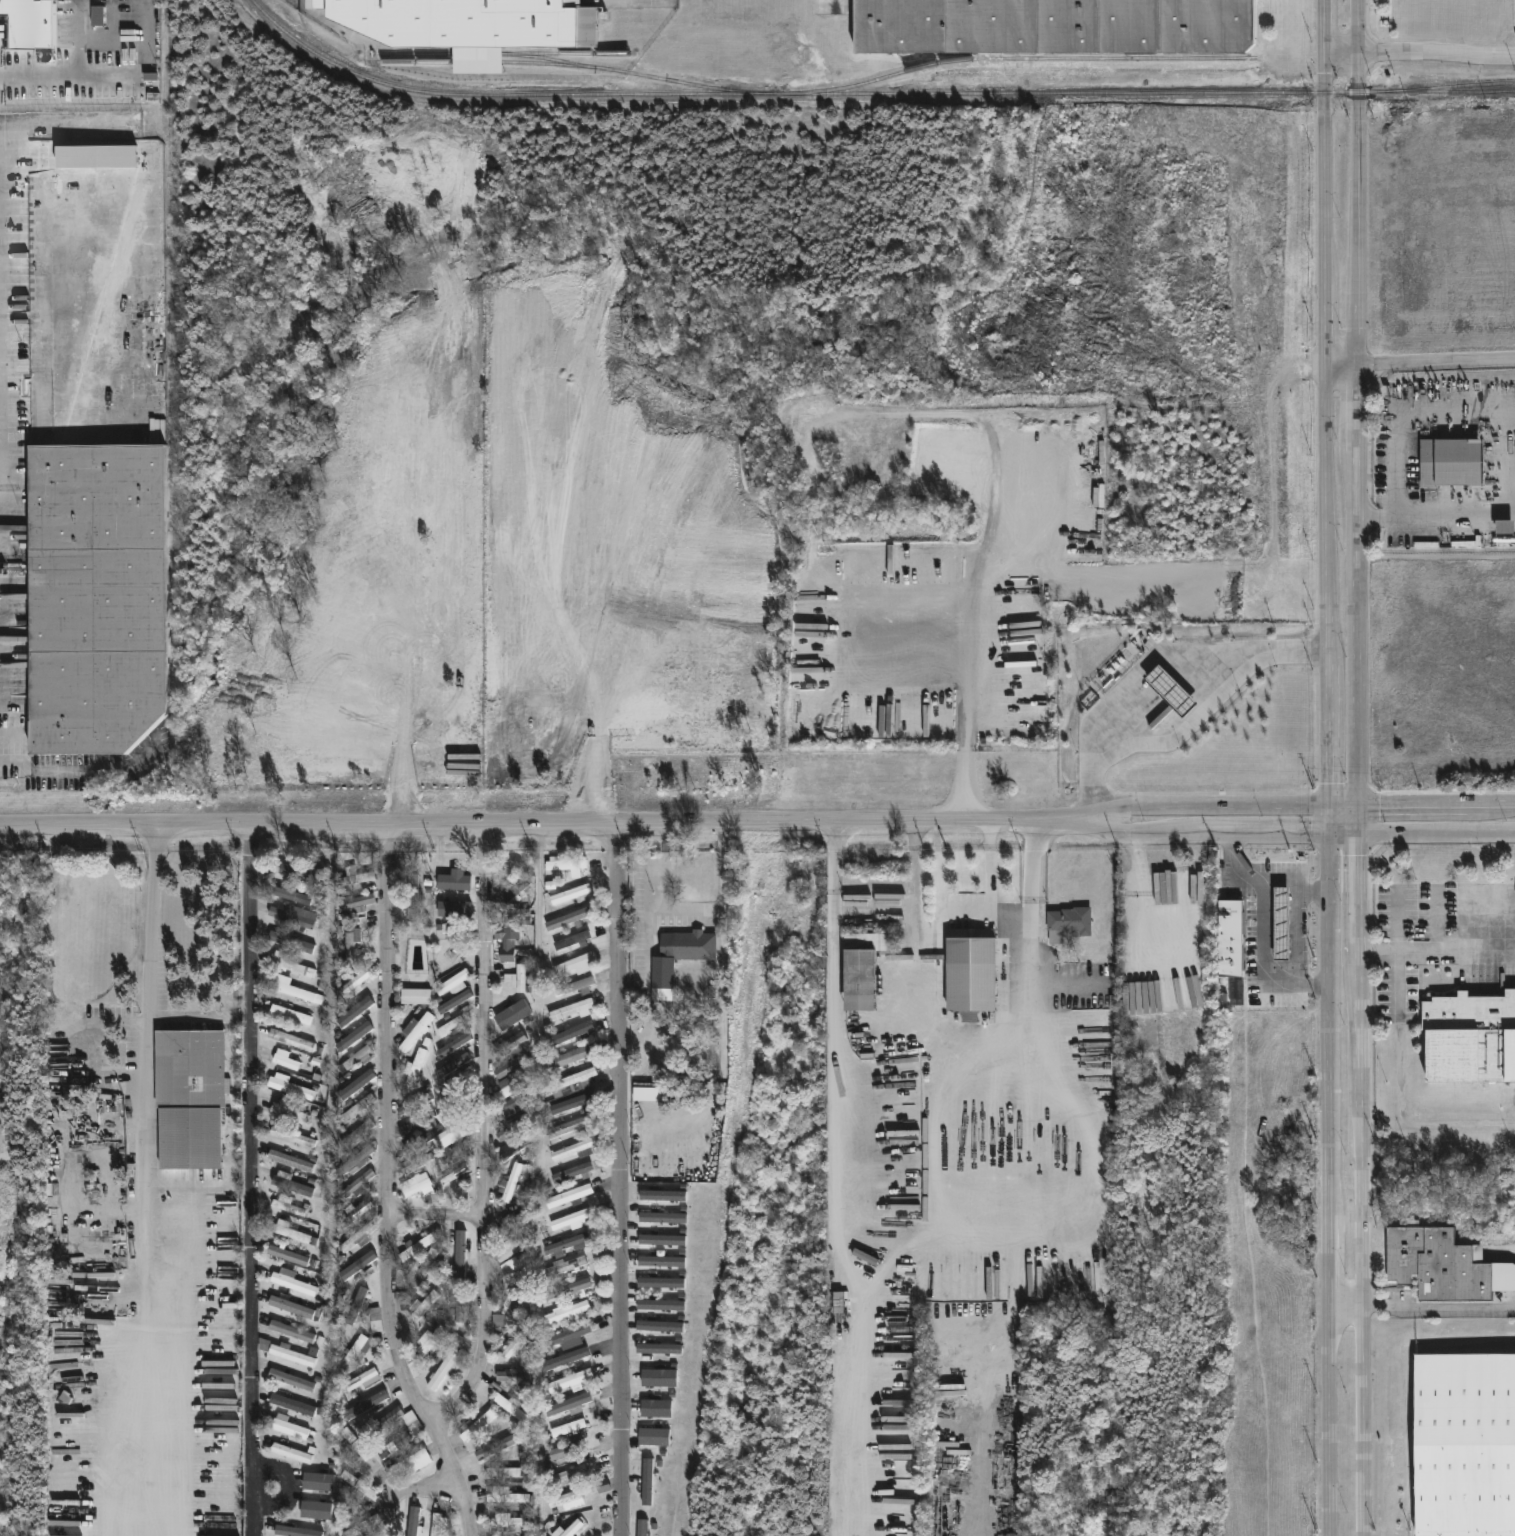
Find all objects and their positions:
building: (98, 15)
building: (465, 21)
building: (29, 23)
building: (1053, 25)
road: (1436, 52)
railway: (477, 53)
railway: (565, 53)
road: (1340, 53)
railway: (1023, 60)
railway: (560, 64)
road: (70, 69)
railway: (1459, 84)
railway: (870, 93)
road: (1437, 362)
railway: (170, 363)
road: (1343, 365)
road: (1327, 402)
road: (1360, 402)
road: (1409, 409)
building: (94, 443)
building: (1453, 463)
road: (1454, 508)
road: (1377, 509)
building: (1505, 532)
road: (1152, 658)
building: (1171, 691)
road: (965, 715)
road: (1193, 719)
road: (1276, 807)
road: (519, 821)
road: (1101, 824)
road: (1276, 837)
building: (565, 864)
building: (302, 871)
road: (988, 872)
building: (352, 878)
building: (454, 880)
road: (1299, 883)
building: (509, 892)
building: (289, 893)
building: (569, 893)
building: (445, 898)
building: (407, 901)
building: (352, 903)
road: (694, 908)
building: (289, 915)
building: (568, 918)
building: (1150, 918)
building: (1281, 922)
gas station: (1281, 922)
building: (1067, 923)
road: (1264, 929)
building: (510, 931)
building: (1231, 938)
building: (572, 940)
building: (291, 942)
building: (691, 945)
building: (347, 947)
road: (1030, 950)
road: (1437, 954)
building: (575, 963)
building: (291, 965)
building: (859, 966)
building: (972, 969)
building: (518, 979)
building: (354, 981)
building: (452, 981)
building: (574, 986)
building: (289, 988)
building: (675, 990)
building: (414, 995)
building: (452, 1003)
building: (571, 1009)
building: (355, 1011)
building: (288, 1012)
building: (513, 1014)
road: (384, 1016)
building: (357, 1021)
road: (722, 1022)
building: (448, 1027)
building: (458, 1028)
road: (63, 1031)
building: (415, 1031)
building: (571, 1034)
building: (354, 1036)
building: (1470, 1037)
building: (291, 1038)
building: (510, 1043)
building: (454, 1045)
building: (570, 1055)
building: (354, 1058)
building: (285, 1059)
building: (453, 1065)
building: (509, 1065)
building: (414, 1067)
building: (574, 1079)
building: (358, 1081)
building: (291, 1087)
building: (453, 1087)
building: (509, 1087)
road: (1400, 1092)
building: (187, 1097)
building: (415, 1100)
building: (568, 1102)
building: (510, 1107)
building: (356, 1108)
building: (452, 1109)
building: (288, 1111)
building: (414, 1122)
building: (568, 1126)
building: (511, 1128)
building: (454, 1130)
road: (480, 1130)
building: (355, 1133)
building: (291, 1135)
building: (417, 1139)
building: (458, 1148)
building: (512, 1148)
building: (571, 1148)
building: (355, 1160)
building: (291, 1161)
building: (417, 1161)
building: (360, 1165)
road: (1332, 1170)
road: (1361, 1170)
building: (572, 1172)
building: (452, 1174)
road: (248, 1178)
road: (618, 1178)
road: (834, 1182)
building: (290, 1183)
building: (356, 1183)
building: (509, 1183)
building: (419, 1187)
building: (568, 1195)
building: (662, 1195)
building: (286, 1206)
building: (356, 1212)
road: (432, 1213)
building: (662, 1217)
building: (571, 1220)
building: (511, 1221)
building: (288, 1231)
building: (357, 1237)
building: (662, 1239)
building: (568, 1243)
building: (415, 1247)
building: (511, 1248)
building: (457, 1250)
building: (283, 1252)
building: (661, 1261)
building: (514, 1264)
building: (1443, 1264)
building: (358, 1265)
building: (563, 1267)
building: (418, 1273)
building: (291, 1282)
building: (661, 1282)
building: (567, 1289)
building: (401, 1298)
building: (515, 1298)
building: (460, 1304)
building: (660, 1304)
road: (1438, 1304)
building: (357, 1305)
building: (421, 1306)
building: (293, 1307)
road: (1347, 1309)
building: (567, 1313)
building: (375, 1319)
road: (386, 1322)
building: (660, 1326)
building: (291, 1332)
road: (130, 1334)
building: (567, 1334)
road: (977, 1336)
building: (429, 1339)
building: (362, 1343)
building: (512, 1344)
building: (658, 1348)
building: (286, 1352)
building: (446, 1362)
building: (563, 1362)
building: (415, 1367)
building: (512, 1376)
building: (659, 1377)
building: (289, 1379)
building: (364, 1379)
building: (569, 1380)
building: (567, 1403)
building: (294, 1405)
building: (366, 1406)
building: (512, 1408)
building: (656, 1408)
building: (413, 1423)
building: (382, 1424)
building: (474, 1425)
building: (289, 1428)
building: (568, 1428)
building: (654, 1436)
building: (1465, 1445)
building: (495, 1446)
building: (393, 1447)
building: (359, 1450)
building: (568, 1452)
building: (292, 1453)
building: (408, 1463)
building: (500, 1470)
building: (566, 1475)
road: (451, 1478)
building: (647, 1482)
building: (318, 1486)
building: (357, 1487)
road: (414, 1488)
building: (508, 1497)
building: (567, 1500)
building: (316, 1510)
building: (388, 1514)
building: (505, 1520)
building: (410, 1523)
building: (436, 1524)
building: (360, 1525)
building: (642, 1527)
building: (572, 1528)
building: (295, 1531)
building: (494, 1535)

